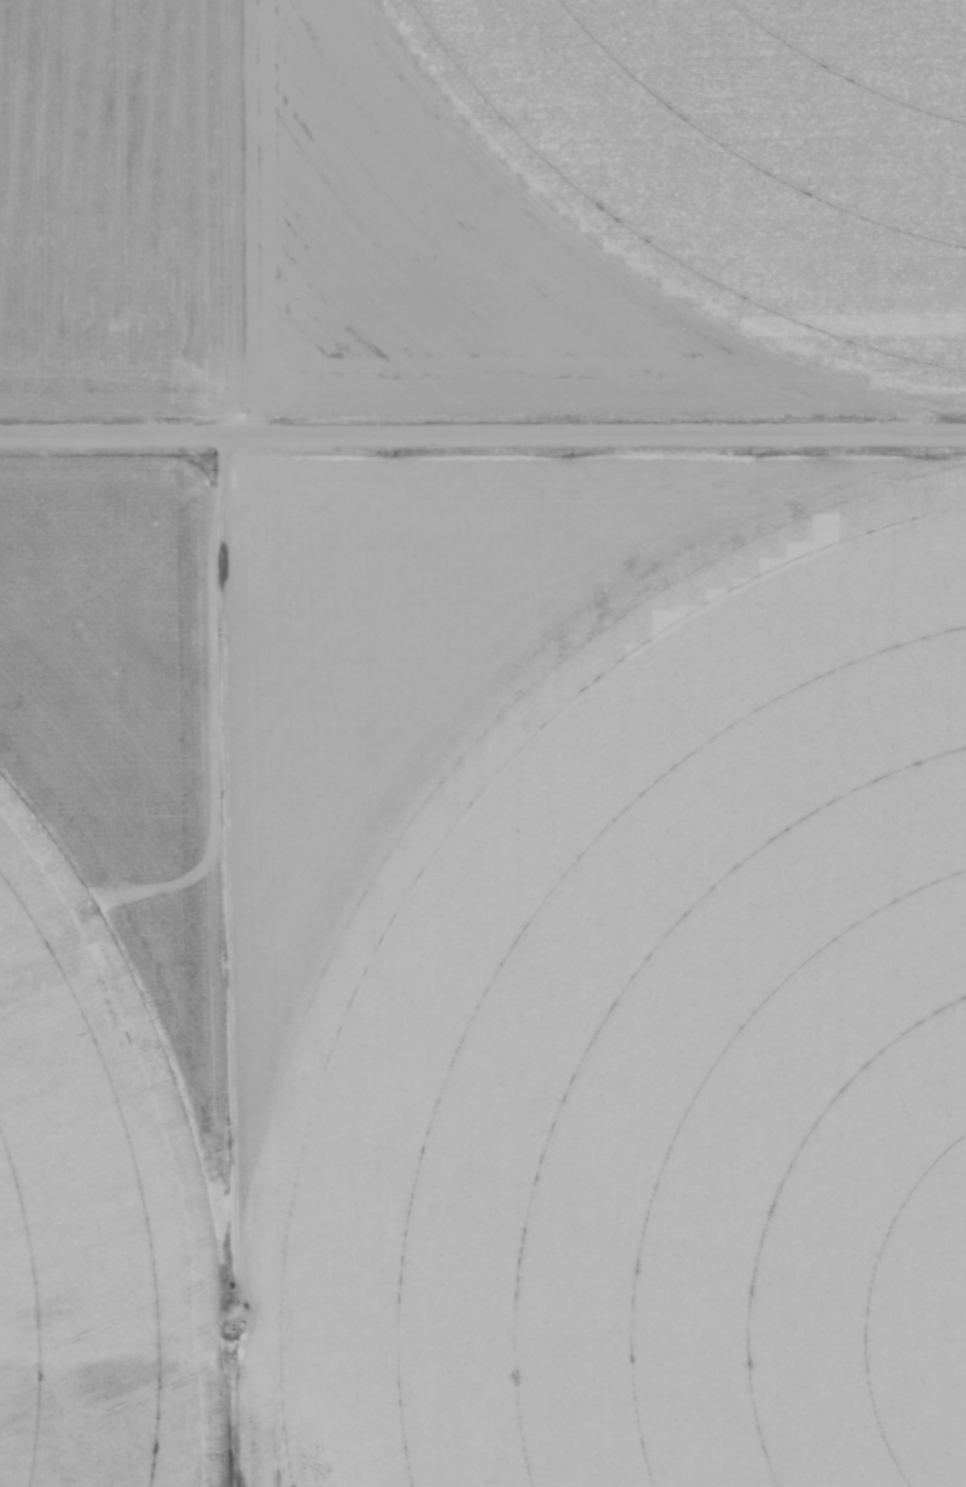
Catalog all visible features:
road: (483, 438)

